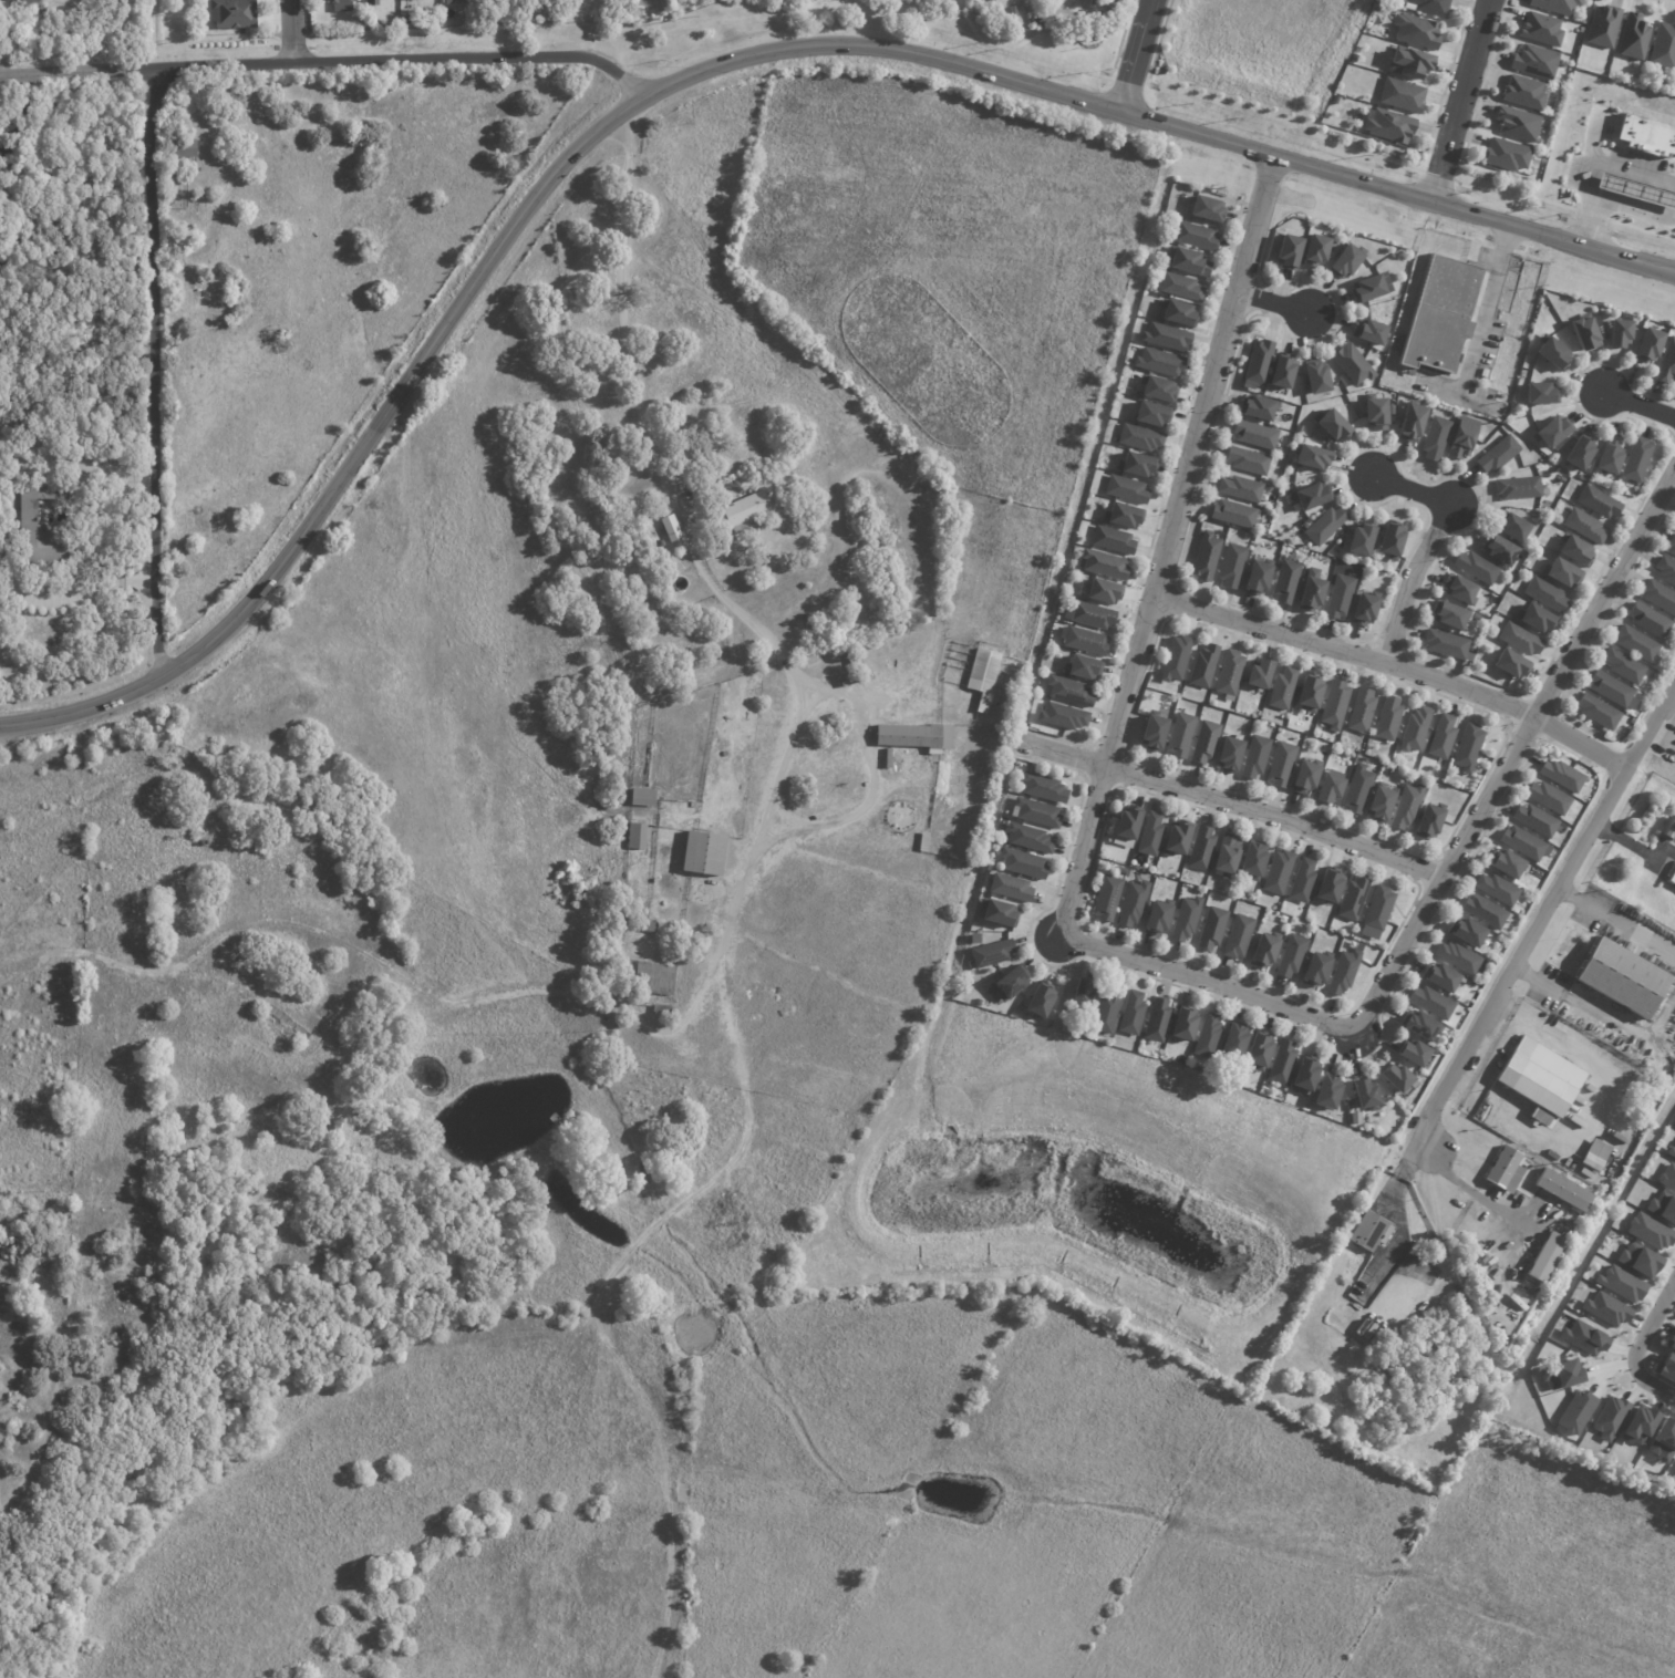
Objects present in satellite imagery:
building: (996, 0)
building: (978, 1)
building: (373, 2)
building: (341, 6)
building: (1430, 7)
building: (1553, 7)
building: (234, 14)
building: (635, 14)
building: (407, 21)
building: (396, 23)
building: (1602, 27)
building: (1540, 29)
road: (300, 30)
building: (1414, 32)
building: (1632, 38)
road: (787, 48)
building: (1663, 48)
road: (1127, 54)
road: (324, 60)
building: (1534, 62)
building: (1409, 63)
building: (1522, 92)
building: (1400, 96)
road: (1459, 101)
building: (1516, 123)
building: (1388, 126)
building: (1646, 135)
building: (184, 148)
building: (1506, 156)
road: (1631, 169)
road: (1581, 182)
building: (1634, 189)
building: (1209, 208)
road: (1631, 208)
building: (1196, 236)
building: (1285, 251)
building: (1315, 251)
building: (1189, 260)
building: (1343, 260)
building: (1182, 287)
building: (1366, 288)
road: (1274, 303)
road: (1482, 309)
building: (1179, 312)
building: (1437, 313)
building: (1583, 331)
building: (1369, 333)
building: (1616, 333)
building: (1168, 338)
building: (1646, 345)
building: (1551, 352)
building: (1255, 361)
building: (1161, 362)
building: (1666, 363)
building: (1351, 364)
building: (1279, 371)
building: (1481, 373)
road: (155, 375)
building: (1313, 377)
building: (1160, 389)
road: (1452, 391)
building: (1539, 393)
road: (1641, 404)
building: (1257, 408)
building: (1154, 413)
building: (1375, 413)
building: (1410, 423)
building: (1331, 425)
building: (1551, 432)
building: (1253, 436)
building: (1459, 437)
building: (1140, 438)
building: (1434, 438)
building: (1579, 452)
building: (1497, 454)
building: (913, 455)
building: (1312, 457)
building: (1606, 457)
building: (1635, 459)
building: (1245, 462)
building: (1137, 465)
building: (1517, 488)
building: (1127, 489)
building: (1239, 489)
building: (1309, 496)
building: (1596, 503)
building: (744, 510)
building: (1231, 515)
building: (1124, 516)
building: (1303, 524)
building: (1323, 526)
building: (1583, 526)
building: (1511, 527)
building: (35, 528)
building: (672, 529)
building: (963, 529)
building: (1115, 540)
building: (1358, 540)
building: (1388, 540)
building: (1672, 546)
road: (1168, 548)
road: (1430, 549)
building: (1498, 550)
building: (1573, 552)
building: (1203, 558)
building: (1107, 564)
building: (1231, 566)
building: (1475, 568)
building: (1665, 571)
building: (1559, 574)
building: (1254, 578)
building: (1284, 582)
building: (1460, 590)
building: (1105, 591)
building: (1543, 593)
road: (74, 594)
building: (1307, 594)
road: (720, 595)
building: (1337, 598)
building: (1658, 598)
building: (1362, 609)
building: (1094, 615)
building: (1448, 615)
building: (1475, 617)
building: (1534, 620)
building: (1647, 621)
building: (1519, 640)
building: (1087, 641)
building: (1634, 644)
building: (1446, 645)
building: (840, 654)
building: (1177, 657)
building: (1509, 664)
building: (1204, 666)
building: (1622, 666)
building: (1083, 669)
building: (848, 670)
road: (1394, 672)
building: (1262, 673)
building: (1231, 675)
building: (985, 676)
building: (1284, 688)
building: (1071, 691)
building: (1611, 691)
building: (1312, 692)
building: (1336, 705)
road: (81, 711)
building: (1363, 711)
building: (1595, 712)
building: (1064, 717)
building: (1389, 719)
building: (1417, 729)
building: (1156, 733)
building: (1182, 735)
building: (916, 737)
building: (1444, 738)
building: (1207, 742)
building: (1470, 748)
road: (1517, 752)
building: (1232, 755)
building: (1257, 757)
building: (889, 758)
building: (1282, 765)
building: (1309, 776)
building: (1564, 776)
building: (1332, 786)
building: (1045, 788)
building: (1359, 788)
building: (645, 798)
building: (1551, 798)
road: (1230, 802)
building: (1384, 804)
building: (694, 805)
building: (1408, 806)
building: (1038, 812)
building: (1538, 820)
building: (1431, 821)
building: (1130, 824)
building: (1669, 828)
building: (1152, 835)
road: (775, 837)
building: (639, 838)
building: (1180, 838)
building: (1032, 839)
building: (926, 842)
building: (1526, 843)
road: (1633, 847)
building: (1202, 849)
building: (706, 854)
building: (1229, 856)
building: (1255, 861)
building: (1509, 863)
building: (1025, 864)
building: (1121, 871)
building: (1279, 871)
building: (1672, 878)
building: (1304, 881)
building: (1333, 887)
building: (1012, 888)
road: (740, 889)
building: (1499, 889)
building: (1109, 899)
building: (1355, 899)
building: (1134, 904)
road: (1549, 908)
building: (1379, 909)
building: (1486, 911)
building: (1000, 913)
building: (1159, 918)
building: (1187, 919)
road: (1616, 923)
building: (647, 926)
building: (1213, 929)
building: (1469, 932)
building: (1240, 936)
building: (978, 940)
building: (1265, 952)
building: (993, 954)
building: (1293, 956)
building: (1460, 957)
building: (1317, 970)
building: (1345, 973)
building: (1444, 977)
building: (1622, 977)
building: (655, 978)
building: (1013, 983)
road: (1208, 985)
building: (1085, 997)
building: (1042, 1001)
building: (1435, 1003)
building: (662, 1009)
building: (1108, 1012)
building: (1134, 1015)
road: (1598, 1018)
building: (1159, 1022)
building: (1186, 1024)
building: (282, 1025)
building: (1425, 1028)
building: (1209, 1037)
building: (1237, 1042)
road: (1570, 1049)
building: (1261, 1050)
building: (1416, 1054)
building: (1284, 1060)
building: (1309, 1076)
building: (1398, 1078)
building: (1531, 1088)
building: (1330, 1092)
building: (1367, 1096)
building: (1674, 1126)
building: (1669, 1151)
building: (1594, 1154)
building: (1505, 1170)
building: (1667, 1178)
road: (1467, 1189)
building: (1562, 1190)
building: (1662, 1208)
road: (1394, 1216)
building: (1371, 1231)
building: (1648, 1232)
building: (1545, 1257)
building: (1638, 1260)
building: (1621, 1284)
building: (1606, 1309)
building: (1583, 1338)
building: (1671, 1342)
road: (1638, 1345)
building: (1666, 1368)
building: (1560, 1375)
building: (1575, 1412)
building: (1610, 1418)
building: (1638, 1426)
building: (1662, 1441)

